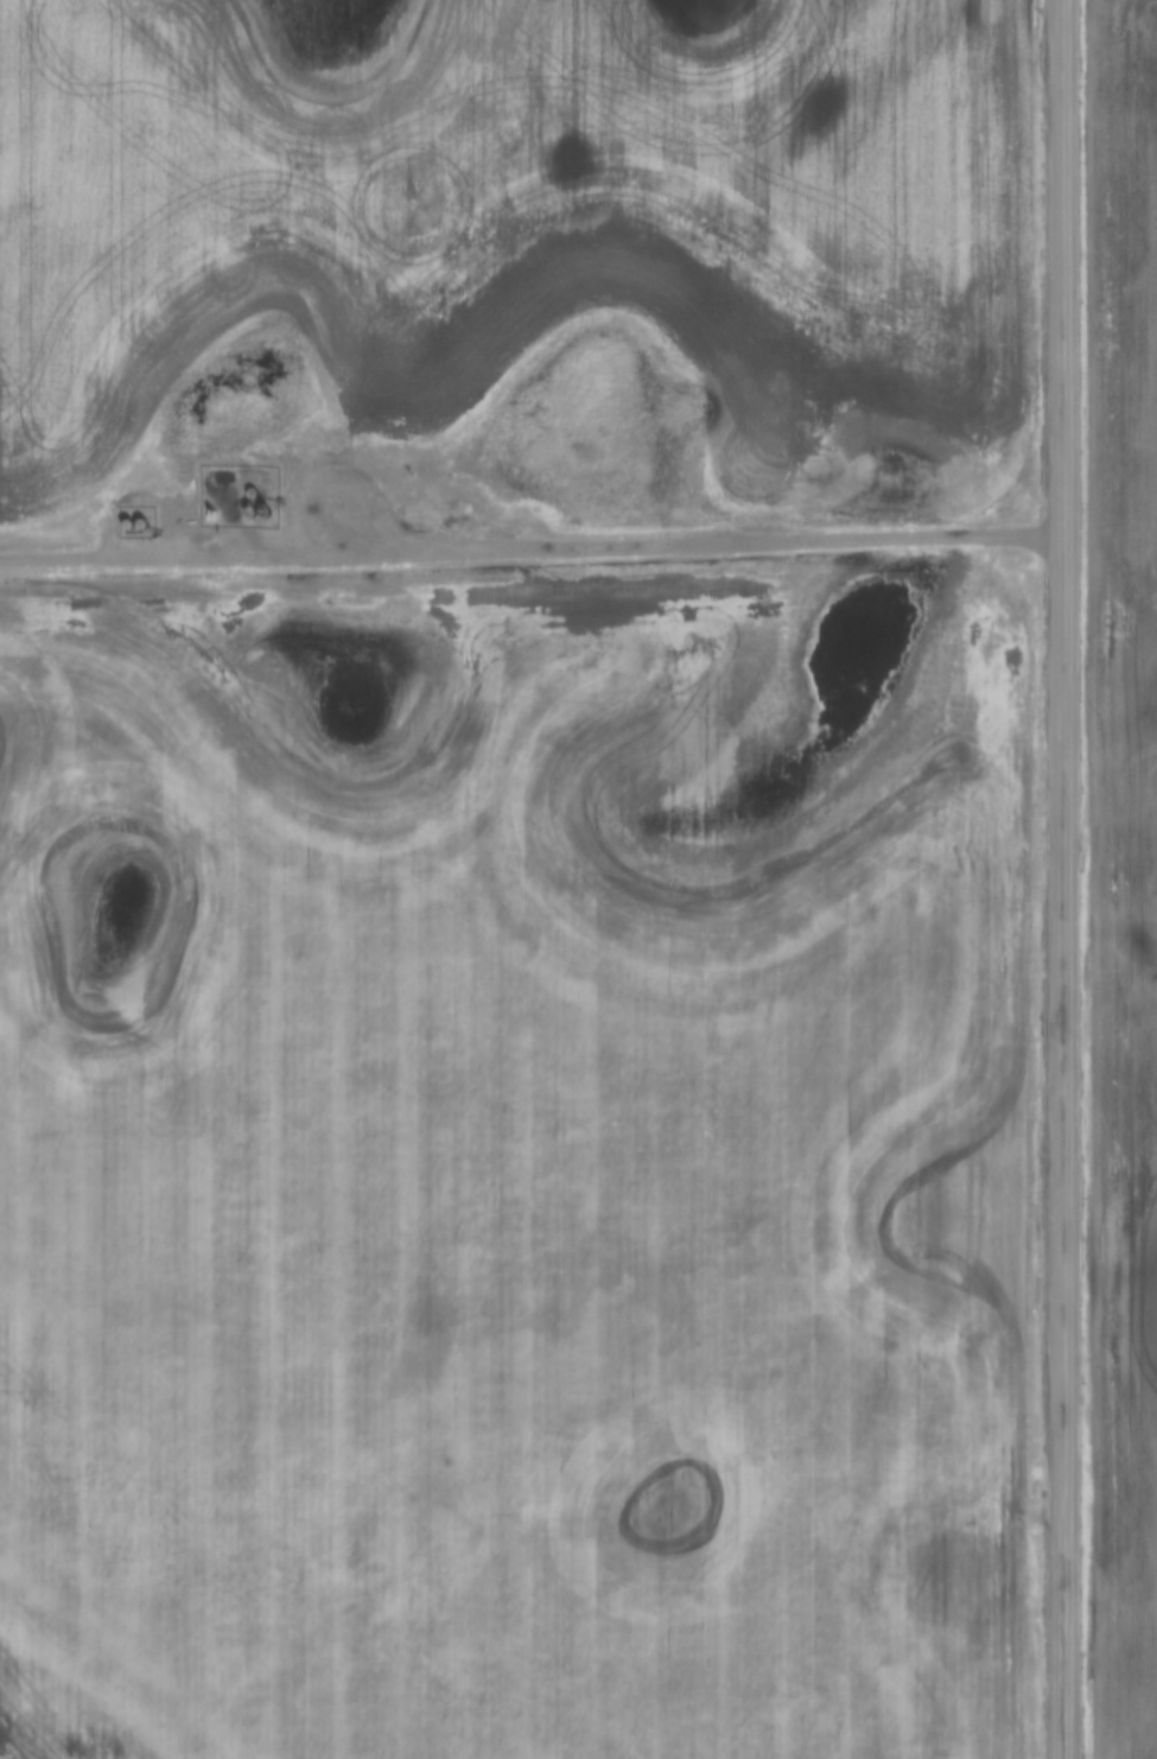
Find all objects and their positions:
road: (530, 546)
road: (1062, 878)

